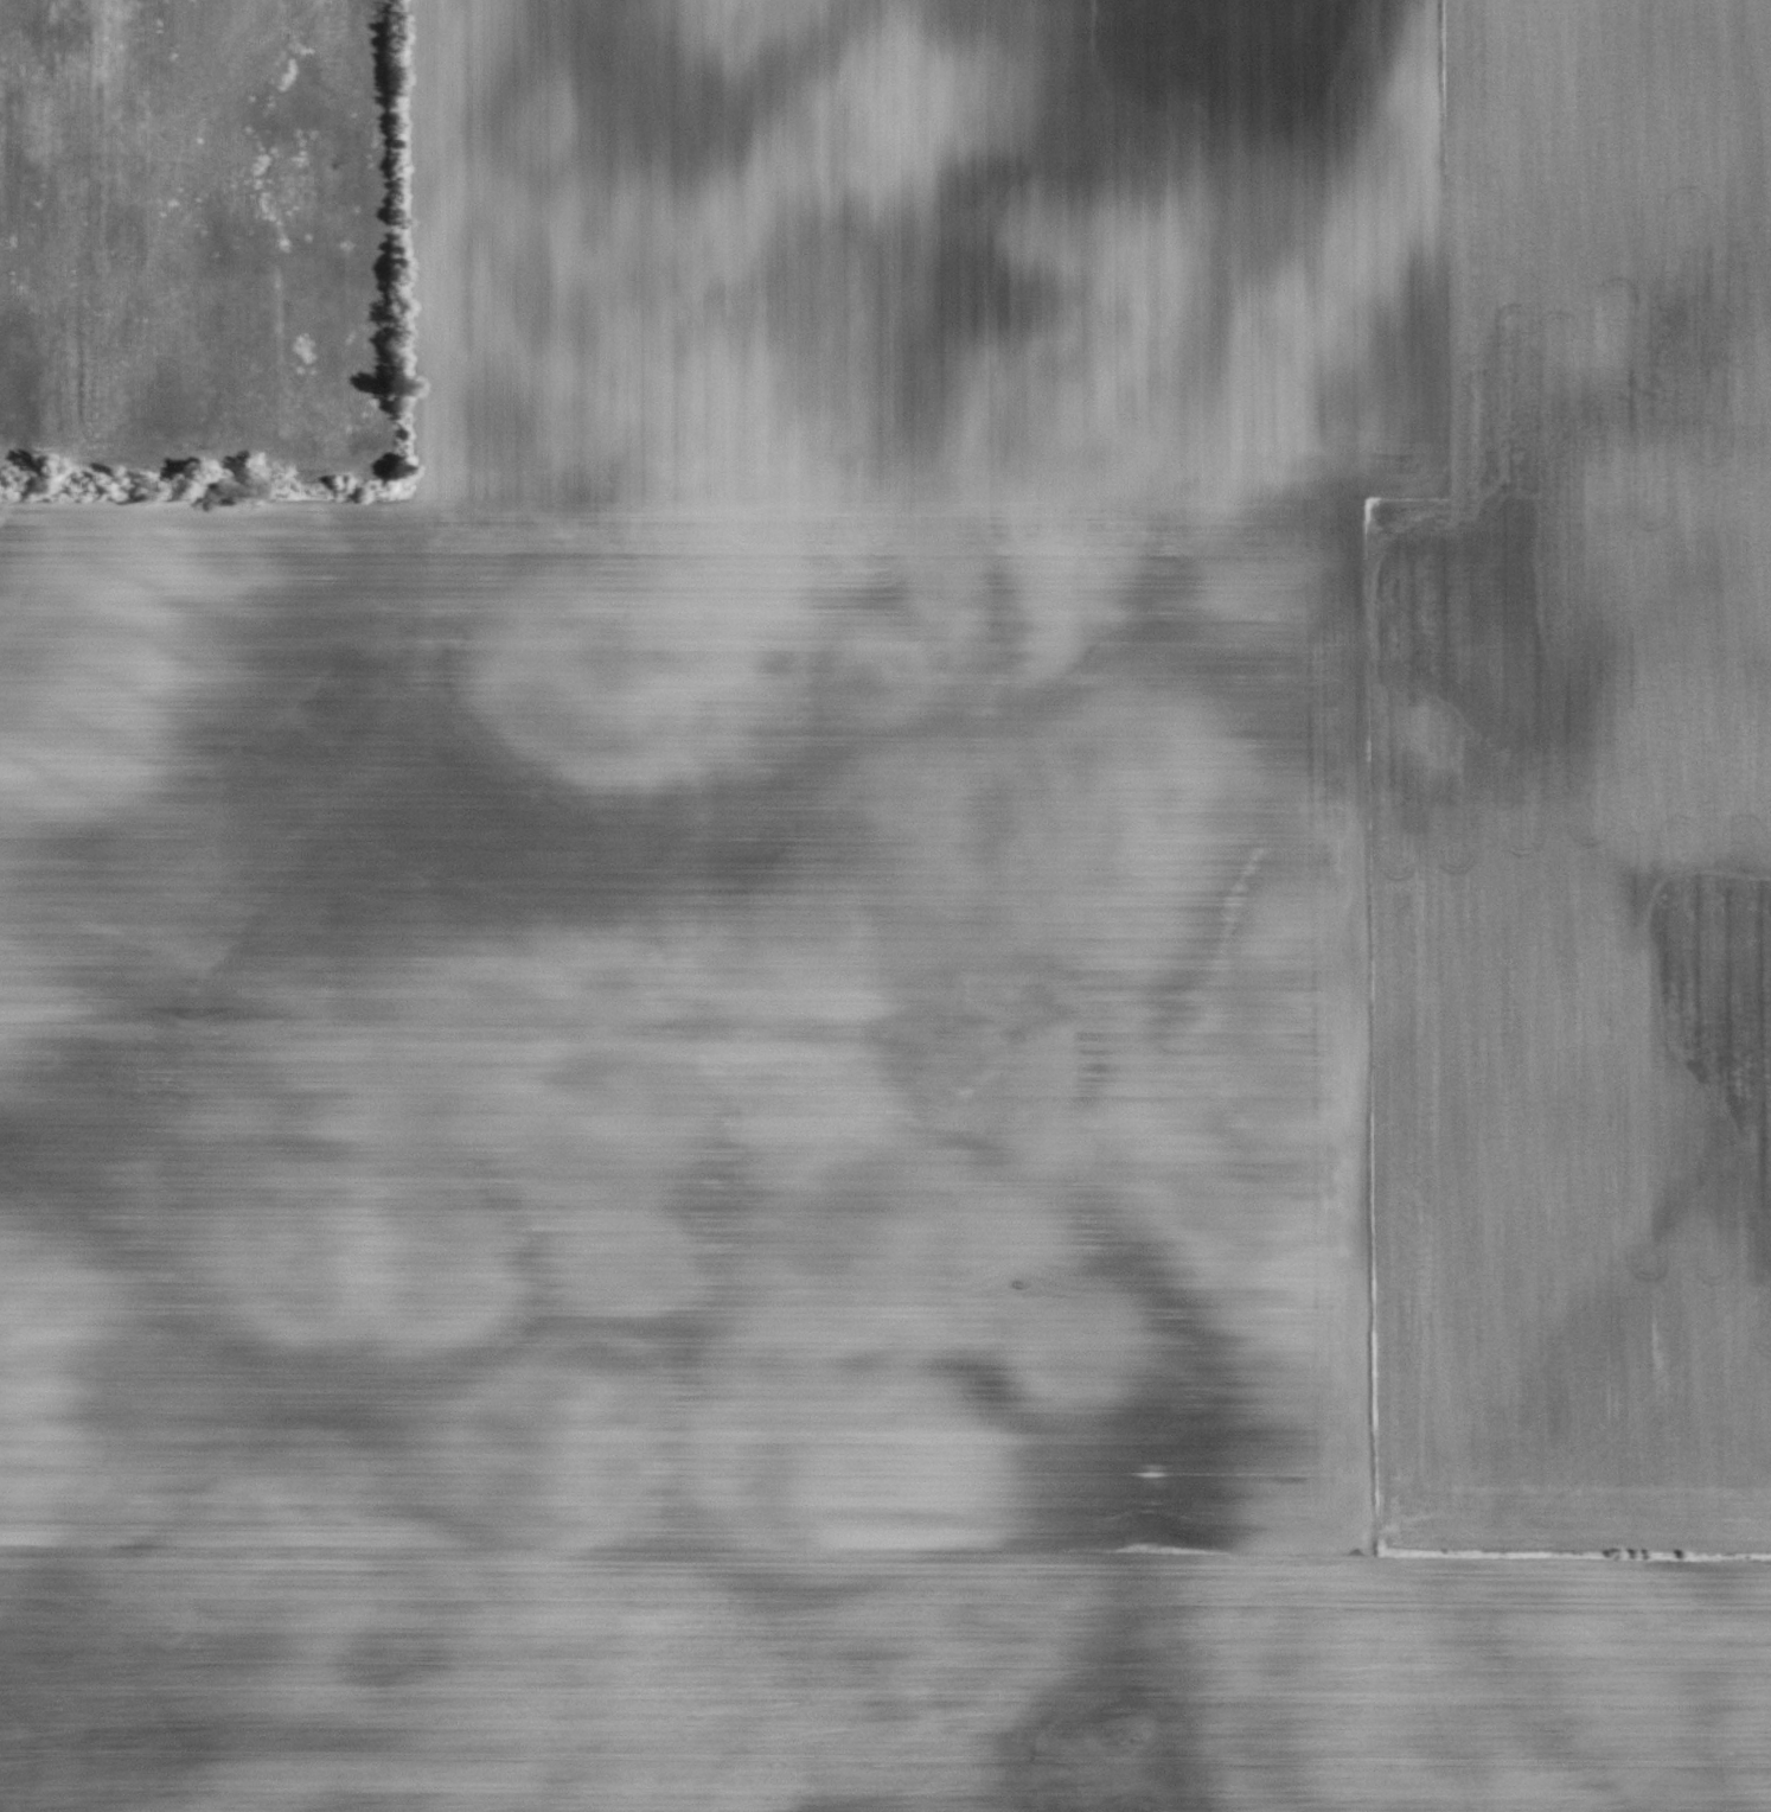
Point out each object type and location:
road: (492, 1031)

